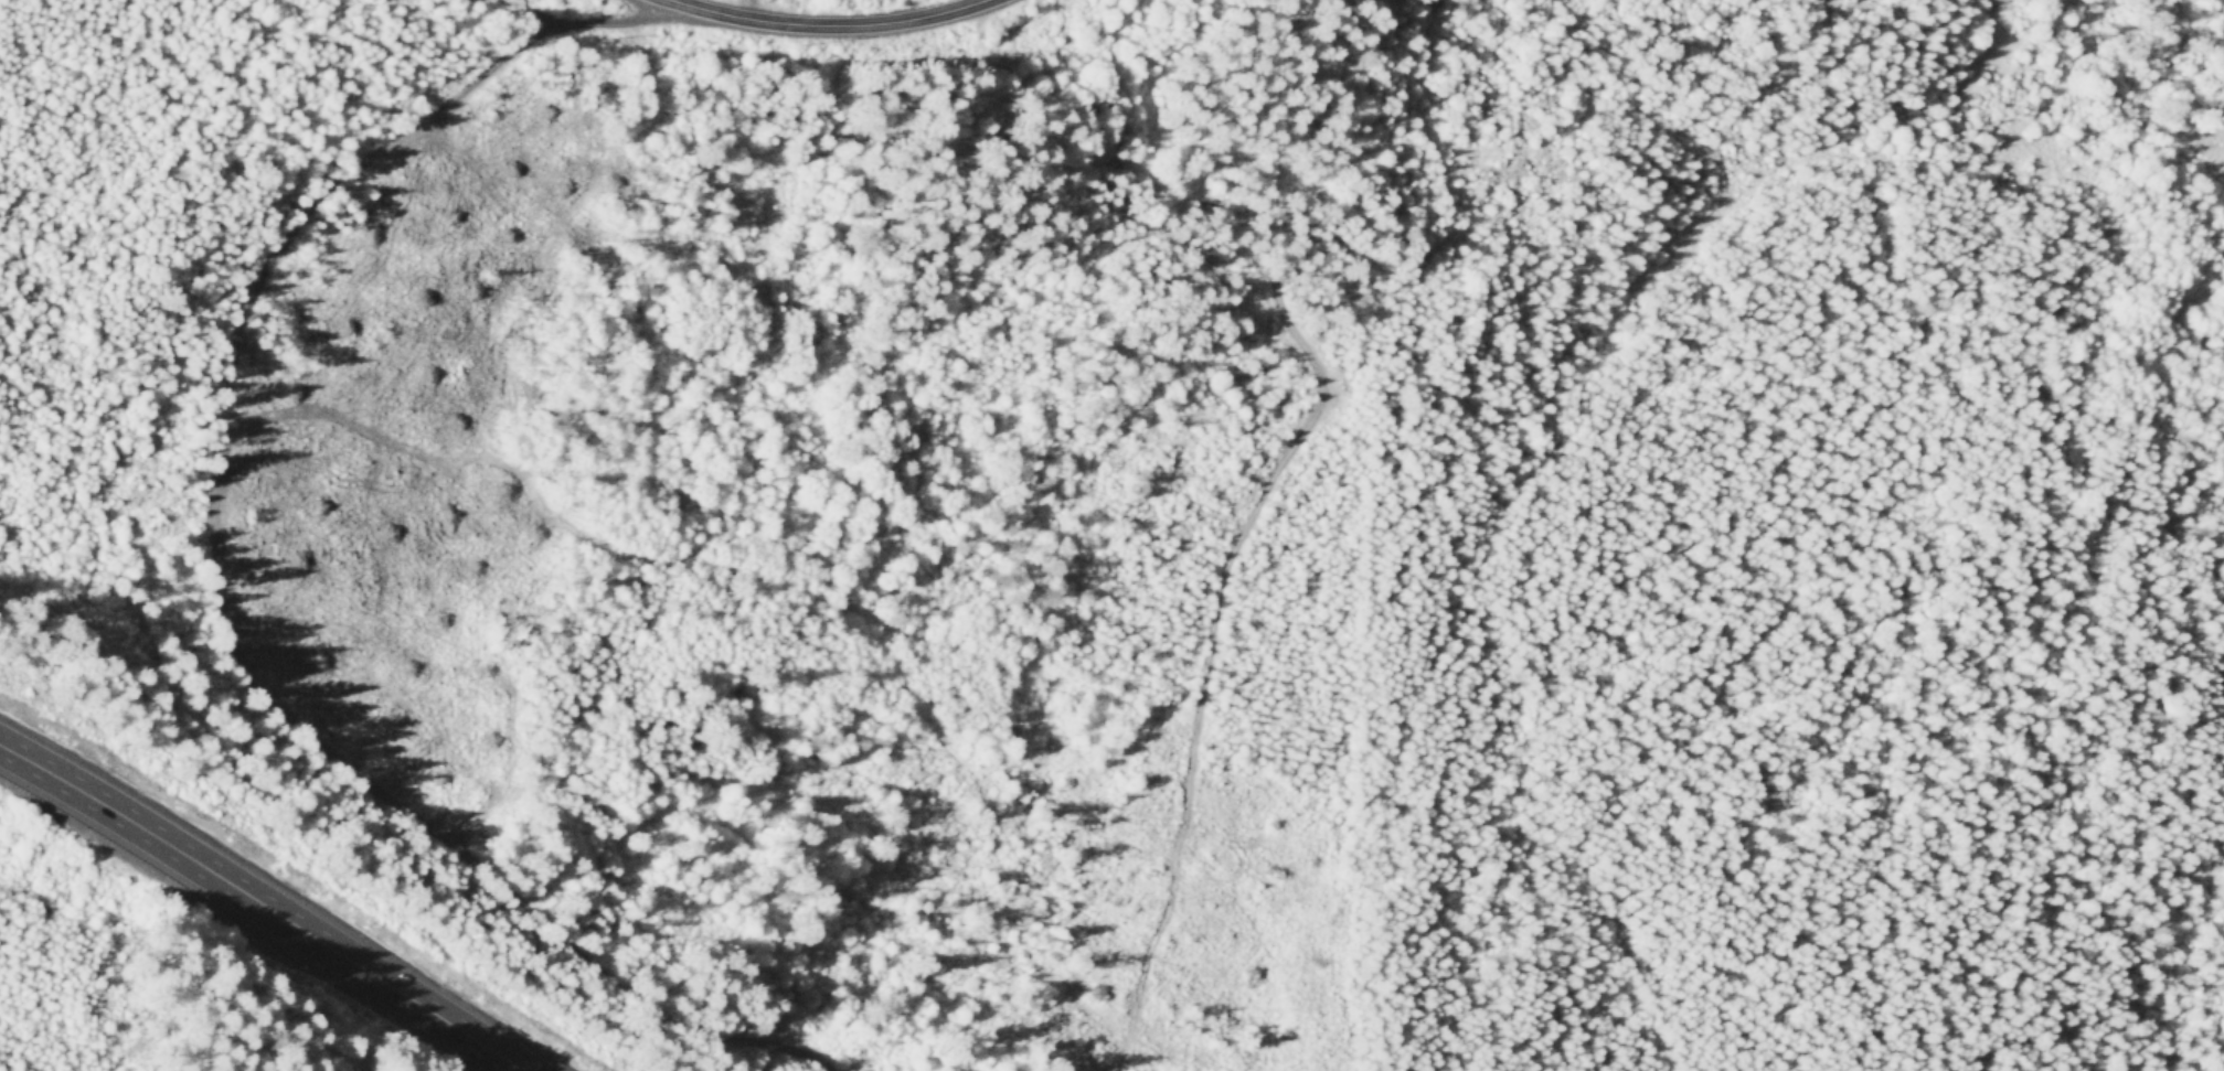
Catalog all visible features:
road: (755, 9)
road: (547, 12)
road: (829, 23)
road: (1318, 365)
road: (202, 567)
road: (266, 904)

